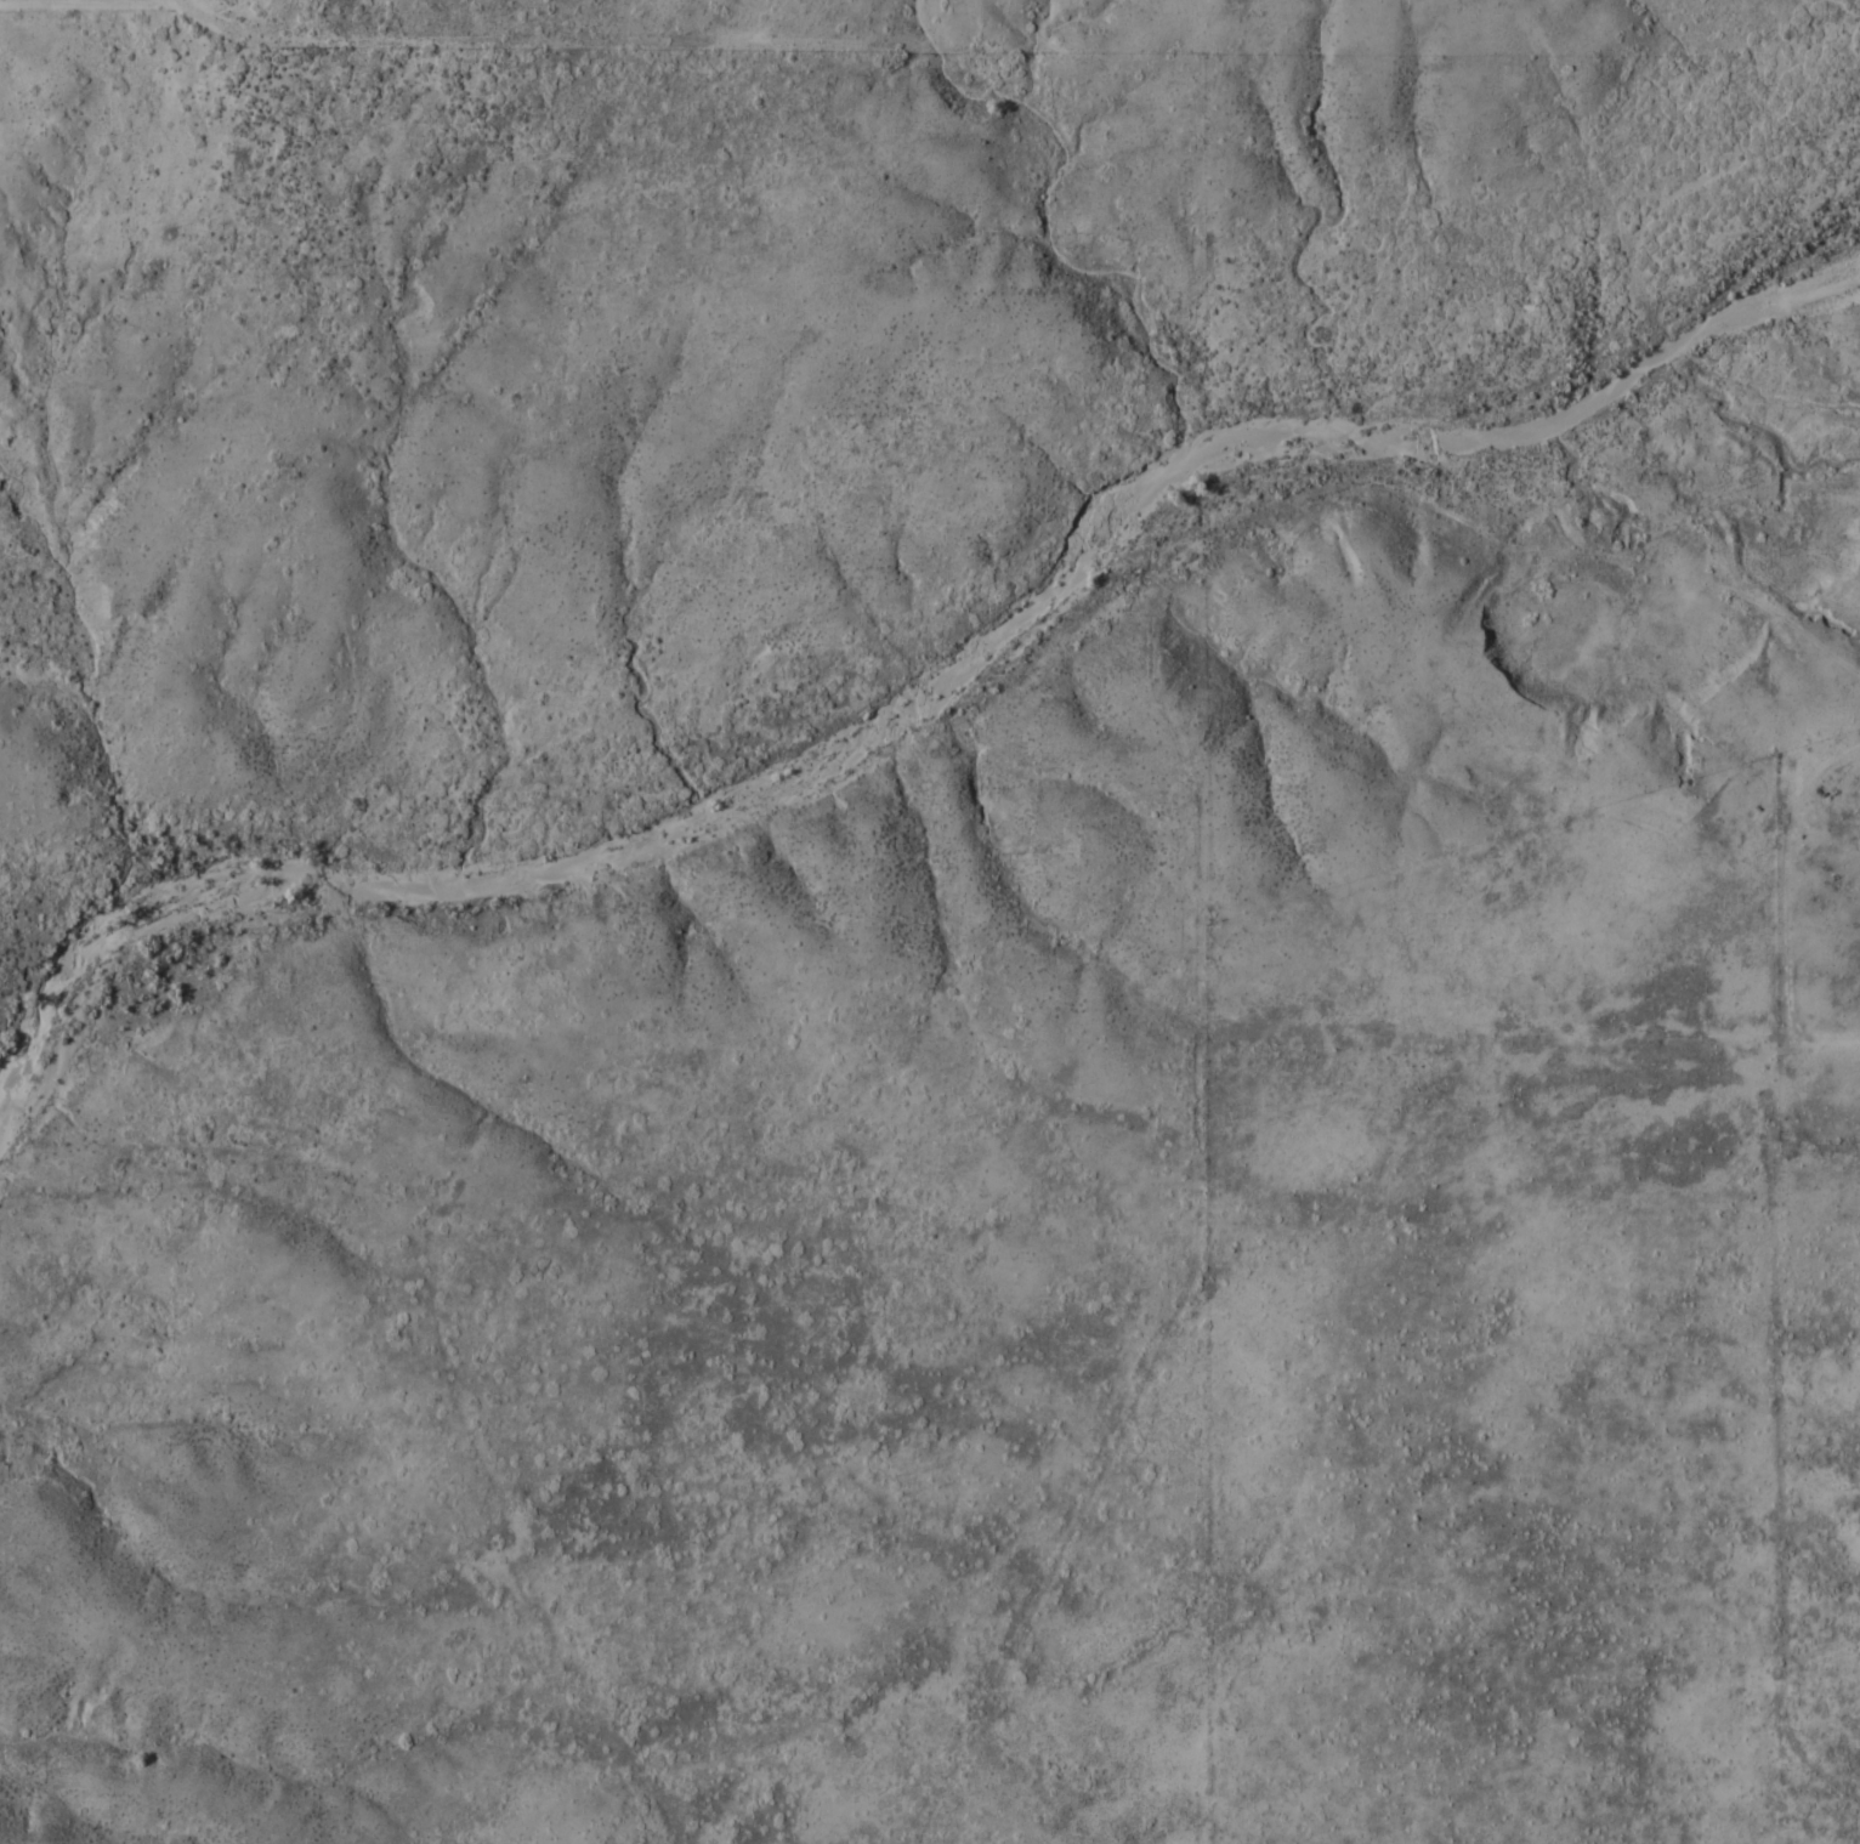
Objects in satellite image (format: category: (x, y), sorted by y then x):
road: (23, 15)

